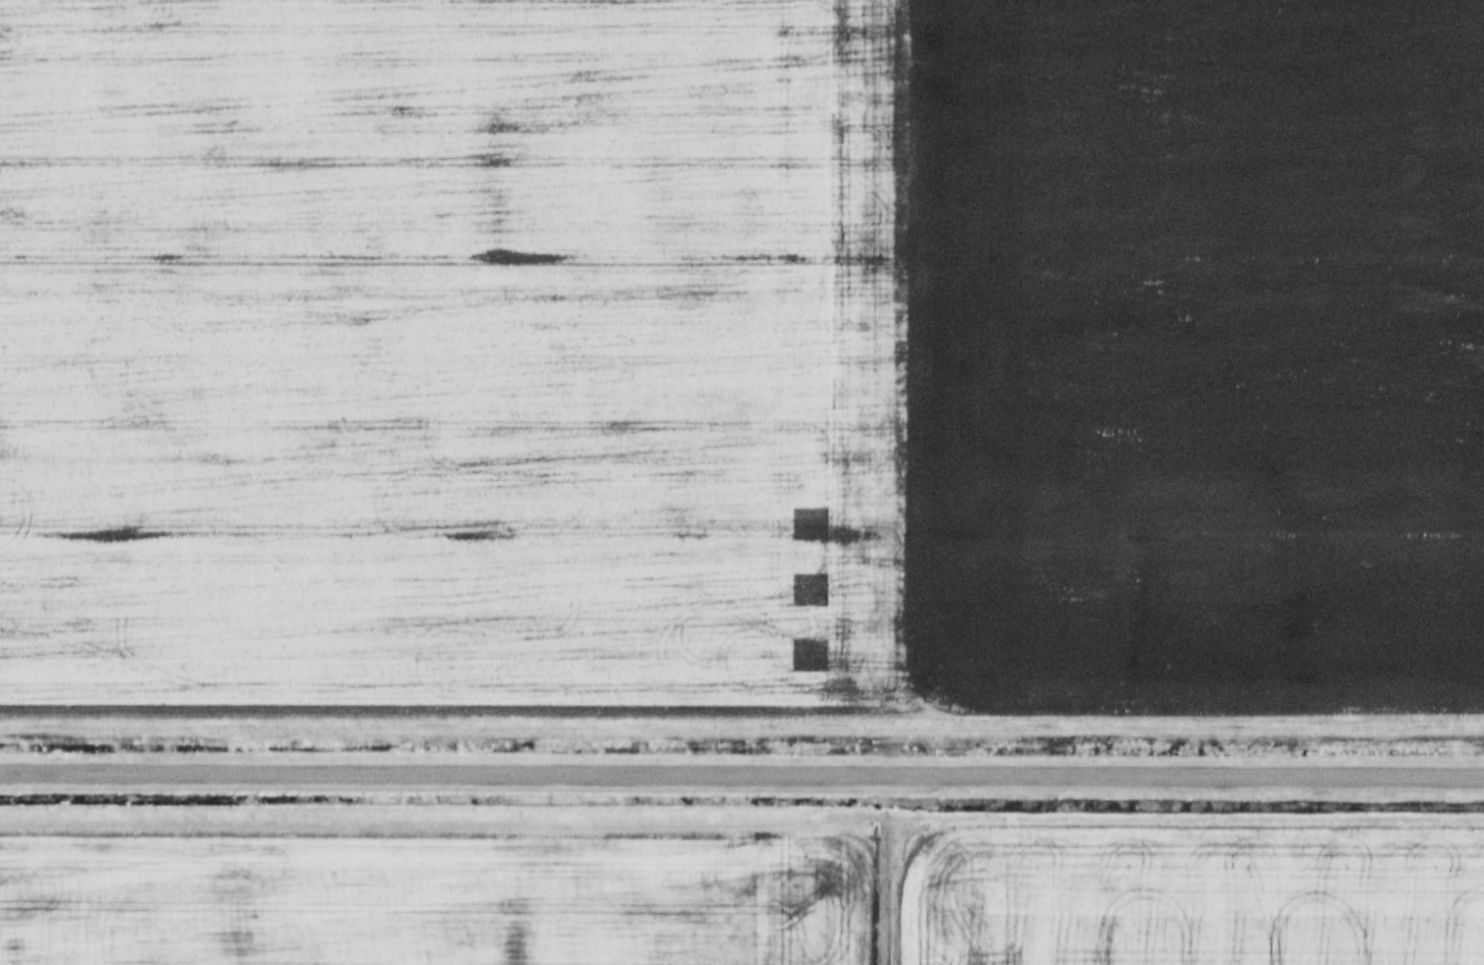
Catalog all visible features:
road: (742, 772)

